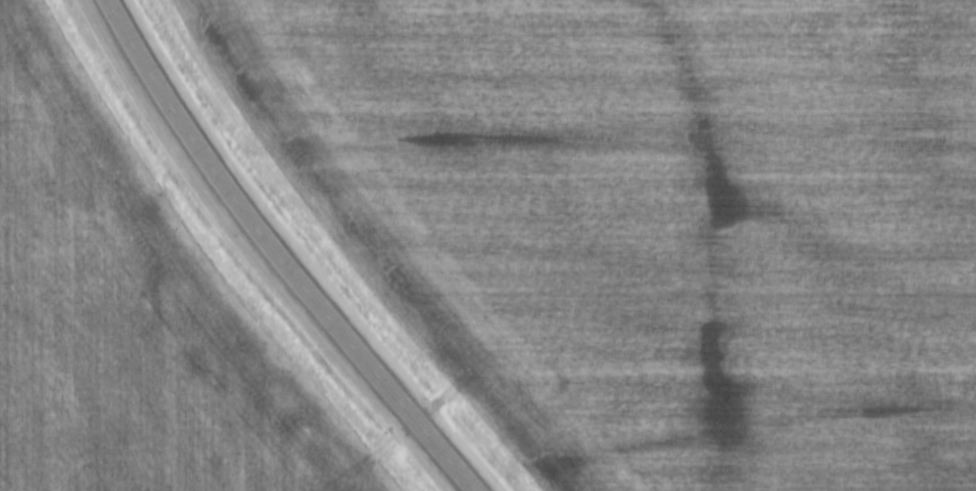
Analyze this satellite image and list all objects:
crop: (650, 220)
road: (276, 257)
crop: (133, 322)

